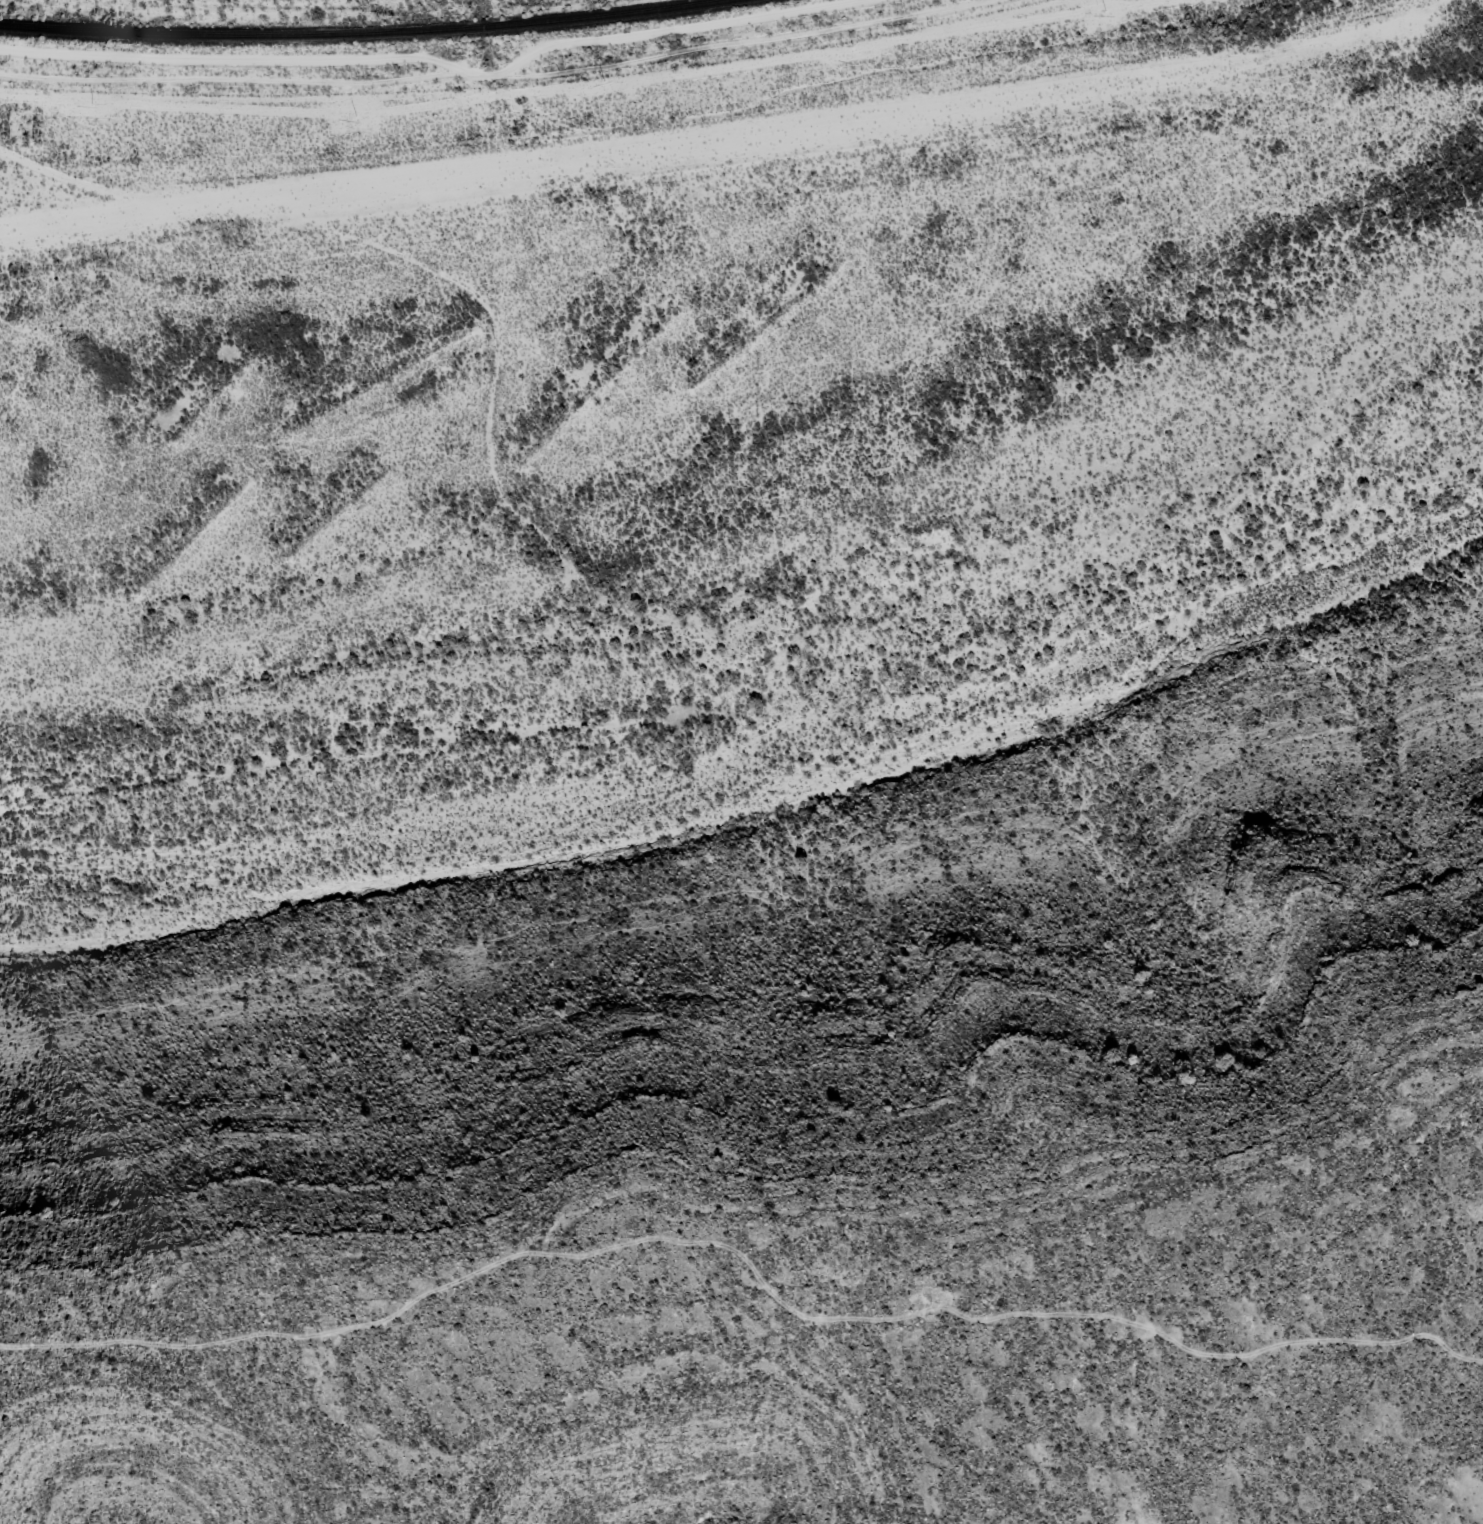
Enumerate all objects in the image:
railway: (359, 32)
road: (82, 192)

